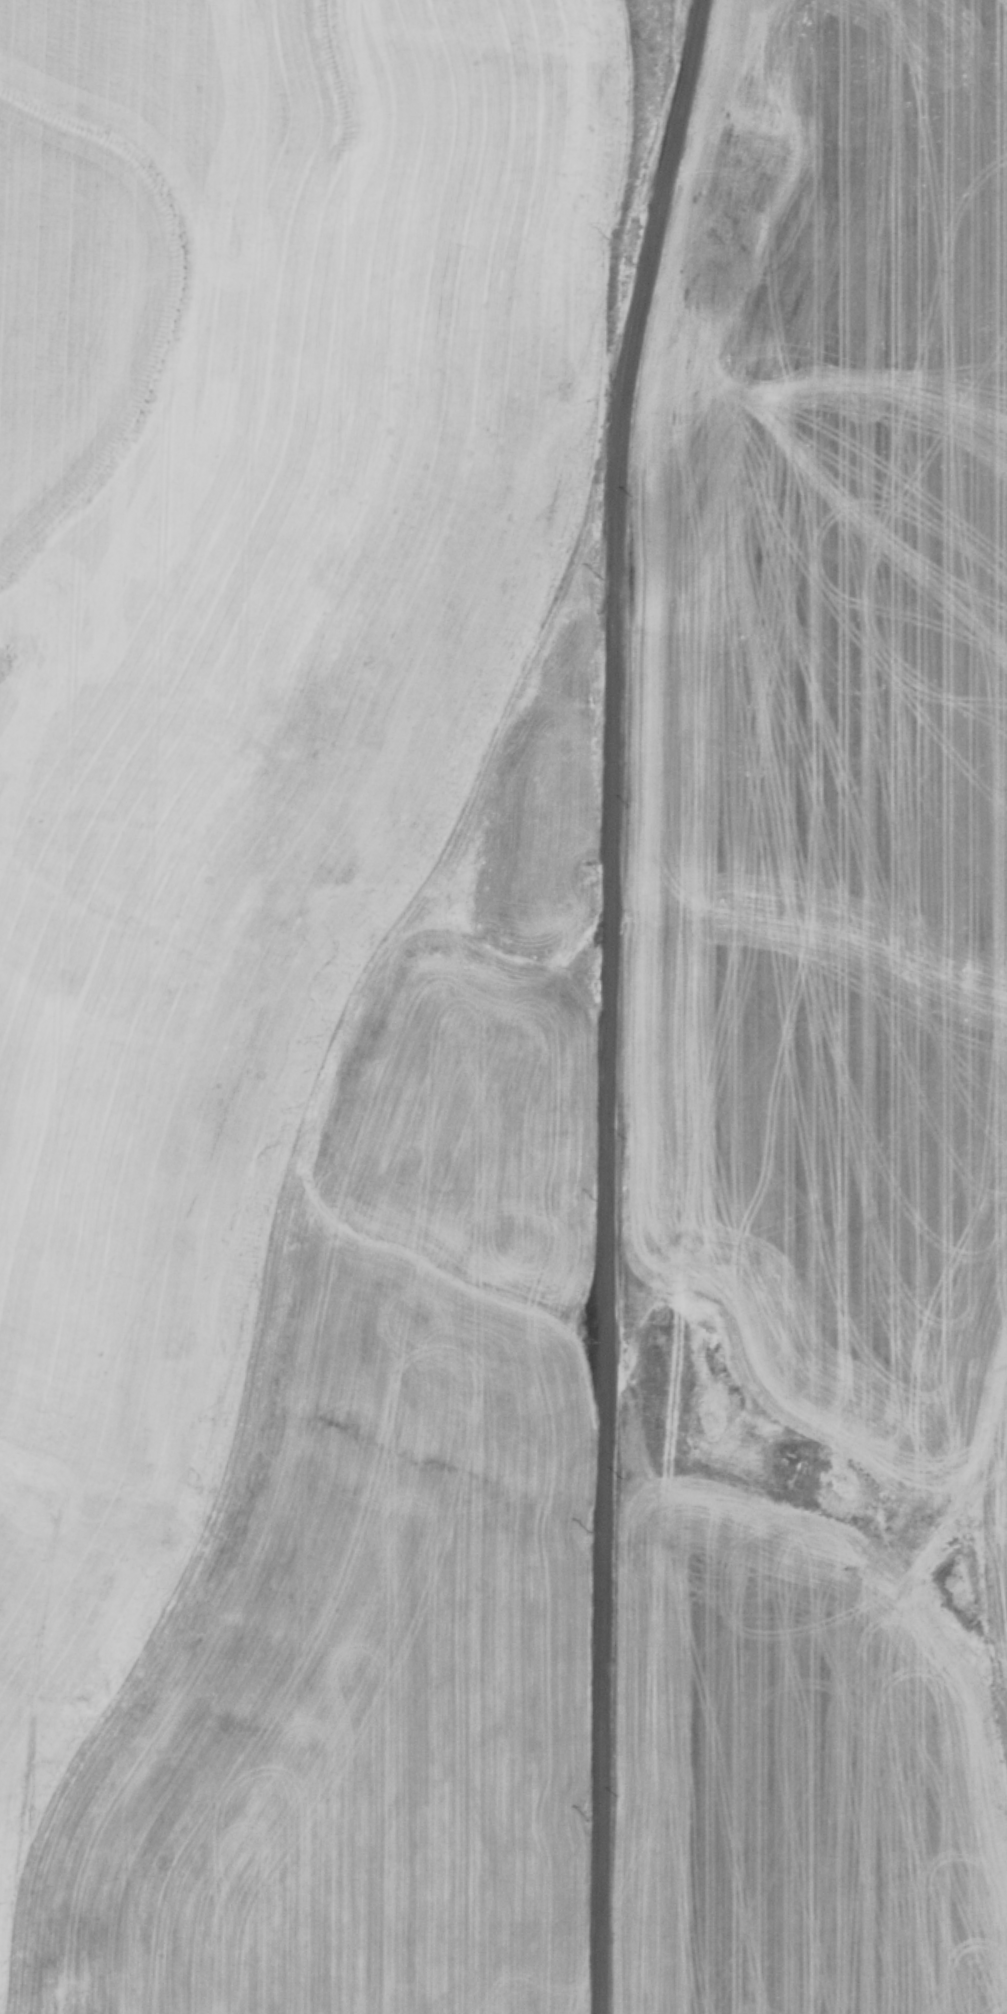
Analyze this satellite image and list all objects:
road: (602, 1003)

